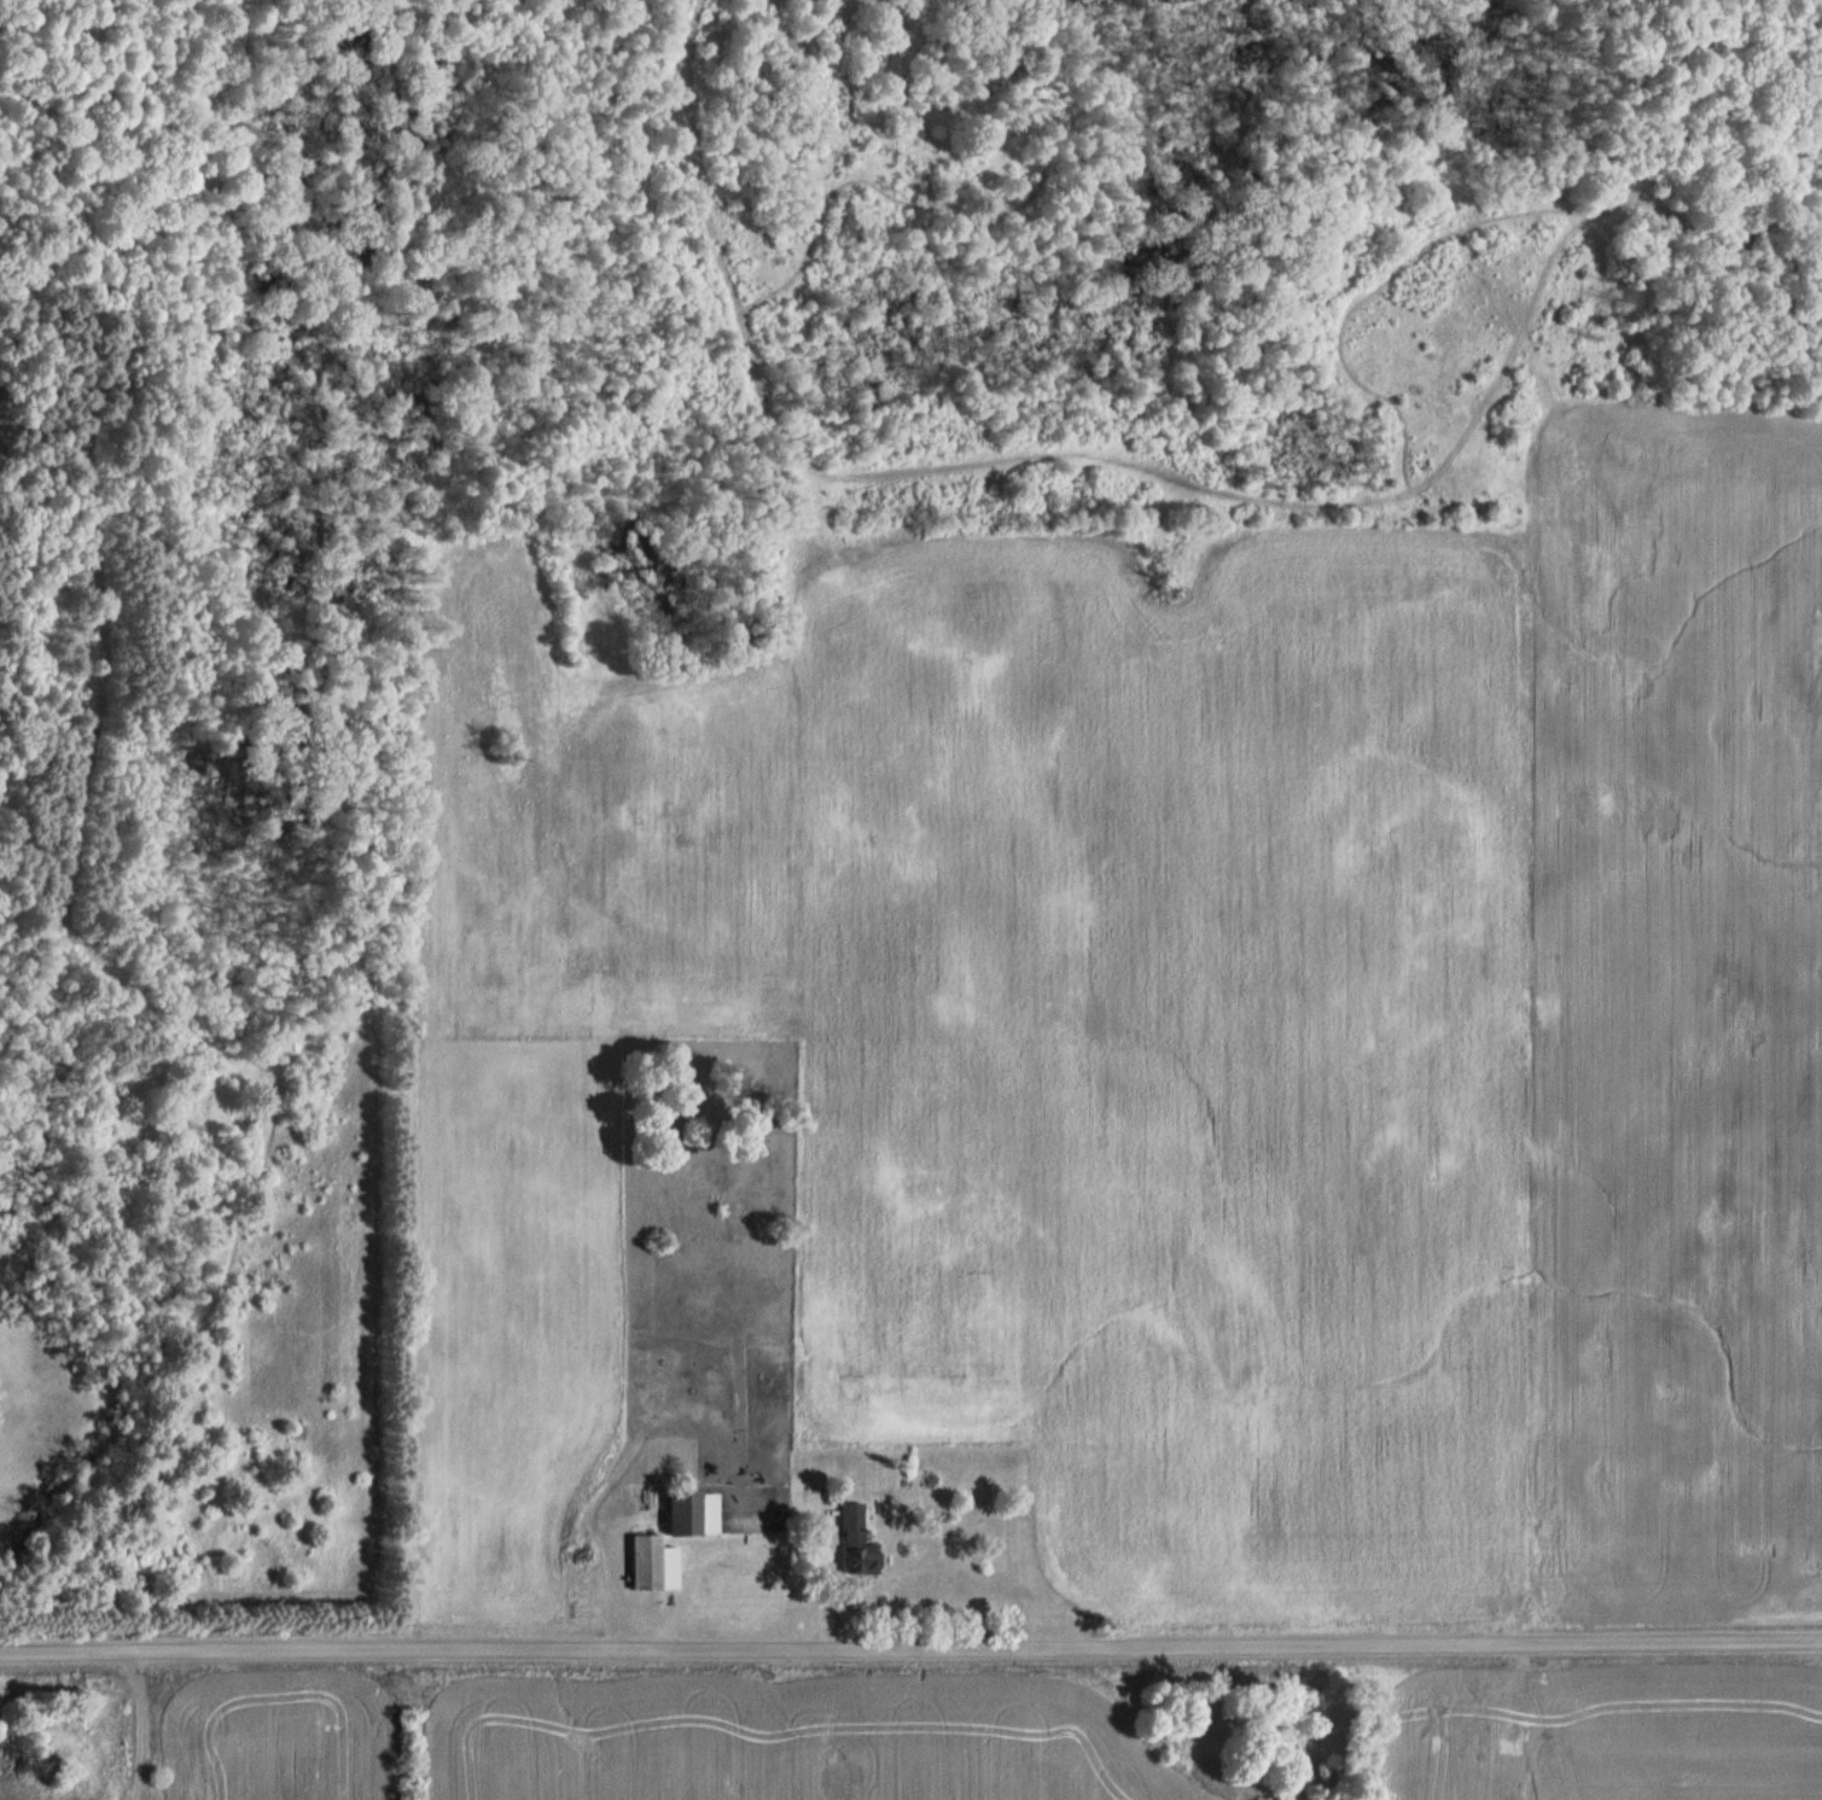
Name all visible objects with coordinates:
building: (680, 1514)
building: (850, 1544)
building: (644, 1565)
road: (910, 1648)

